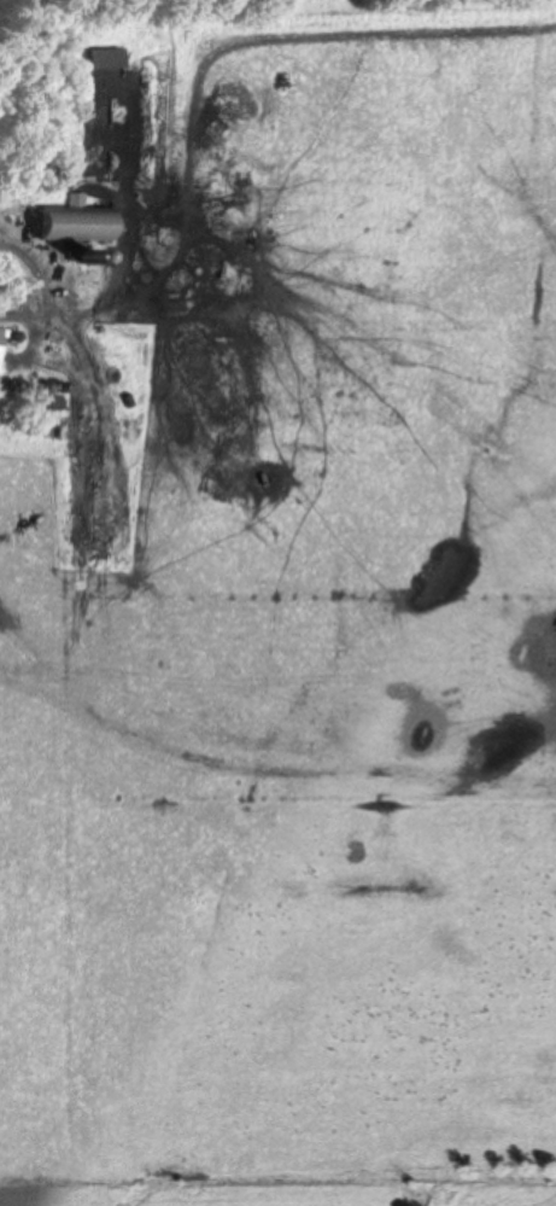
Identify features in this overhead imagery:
building: (105, 60)
building: (78, 226)
building: (0, 340)

